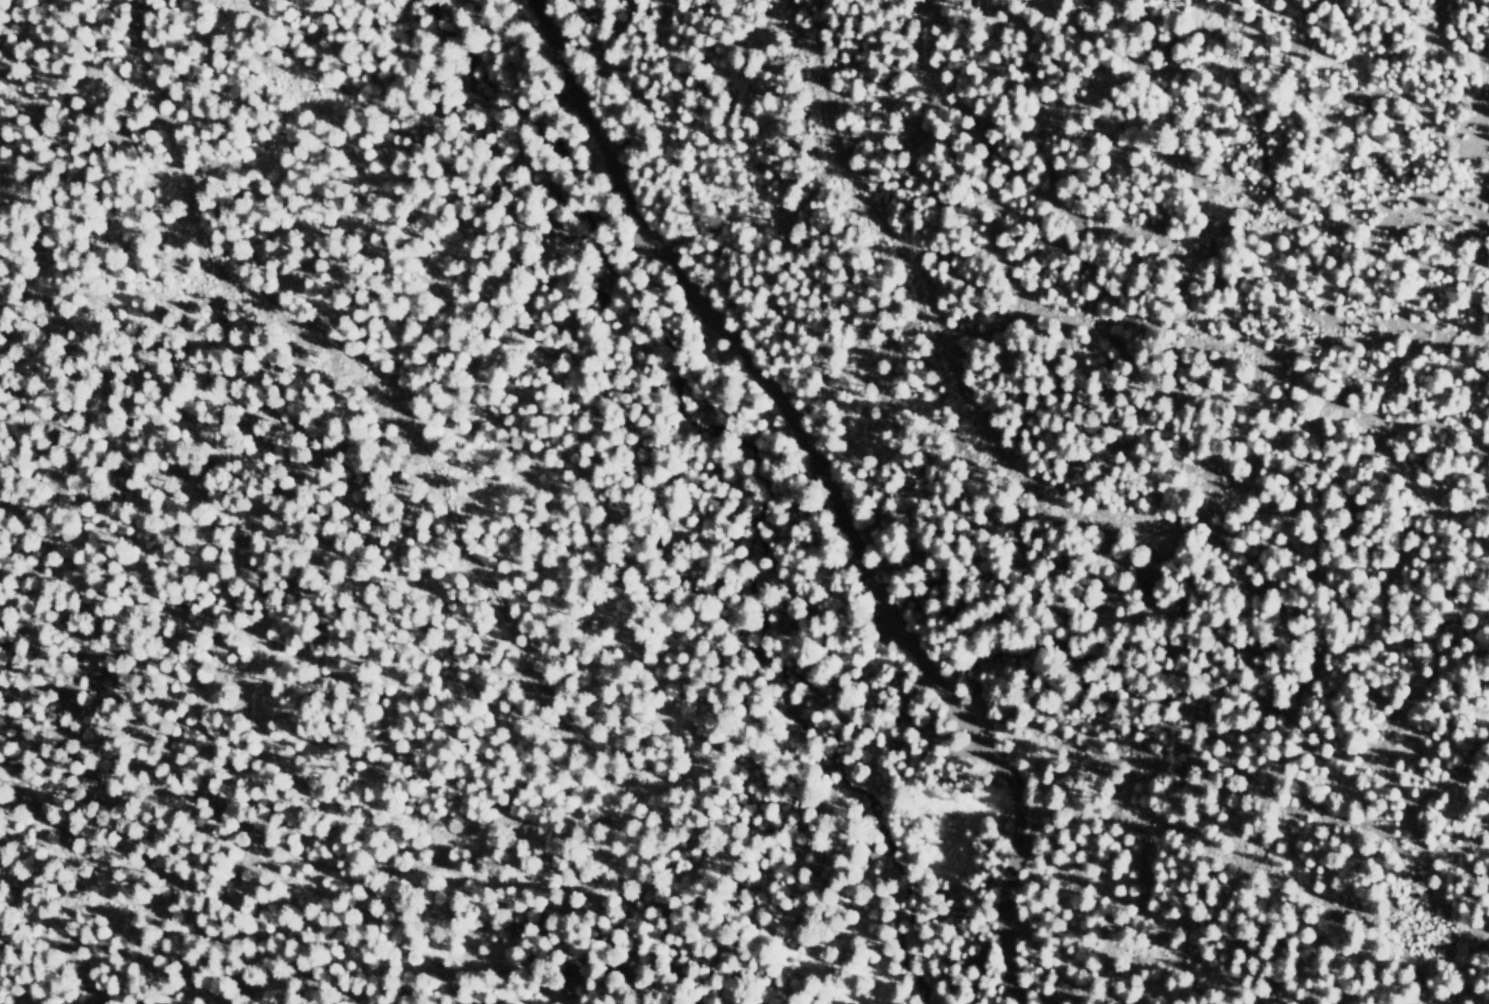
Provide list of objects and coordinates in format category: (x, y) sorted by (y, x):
road: (822, 487)

